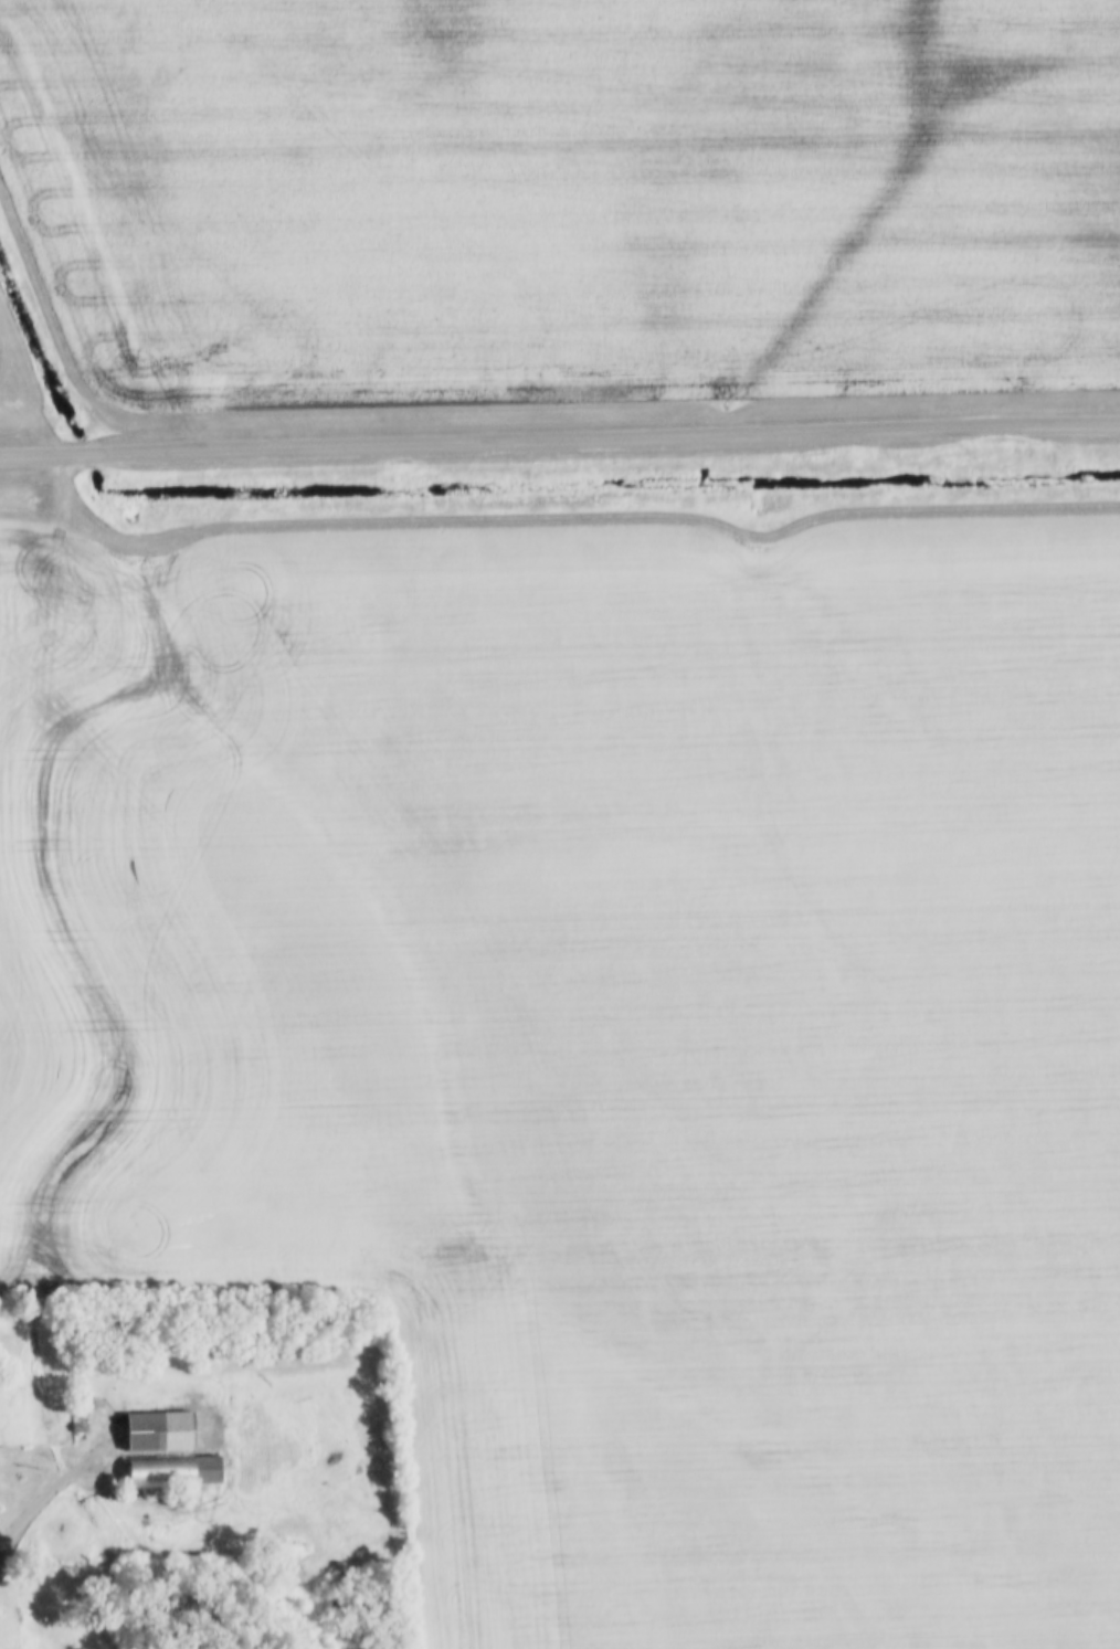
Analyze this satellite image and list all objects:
crop: (564, 197)
road: (560, 443)
crop: (607, 1037)
building: (171, 1431)
building: (171, 1471)

